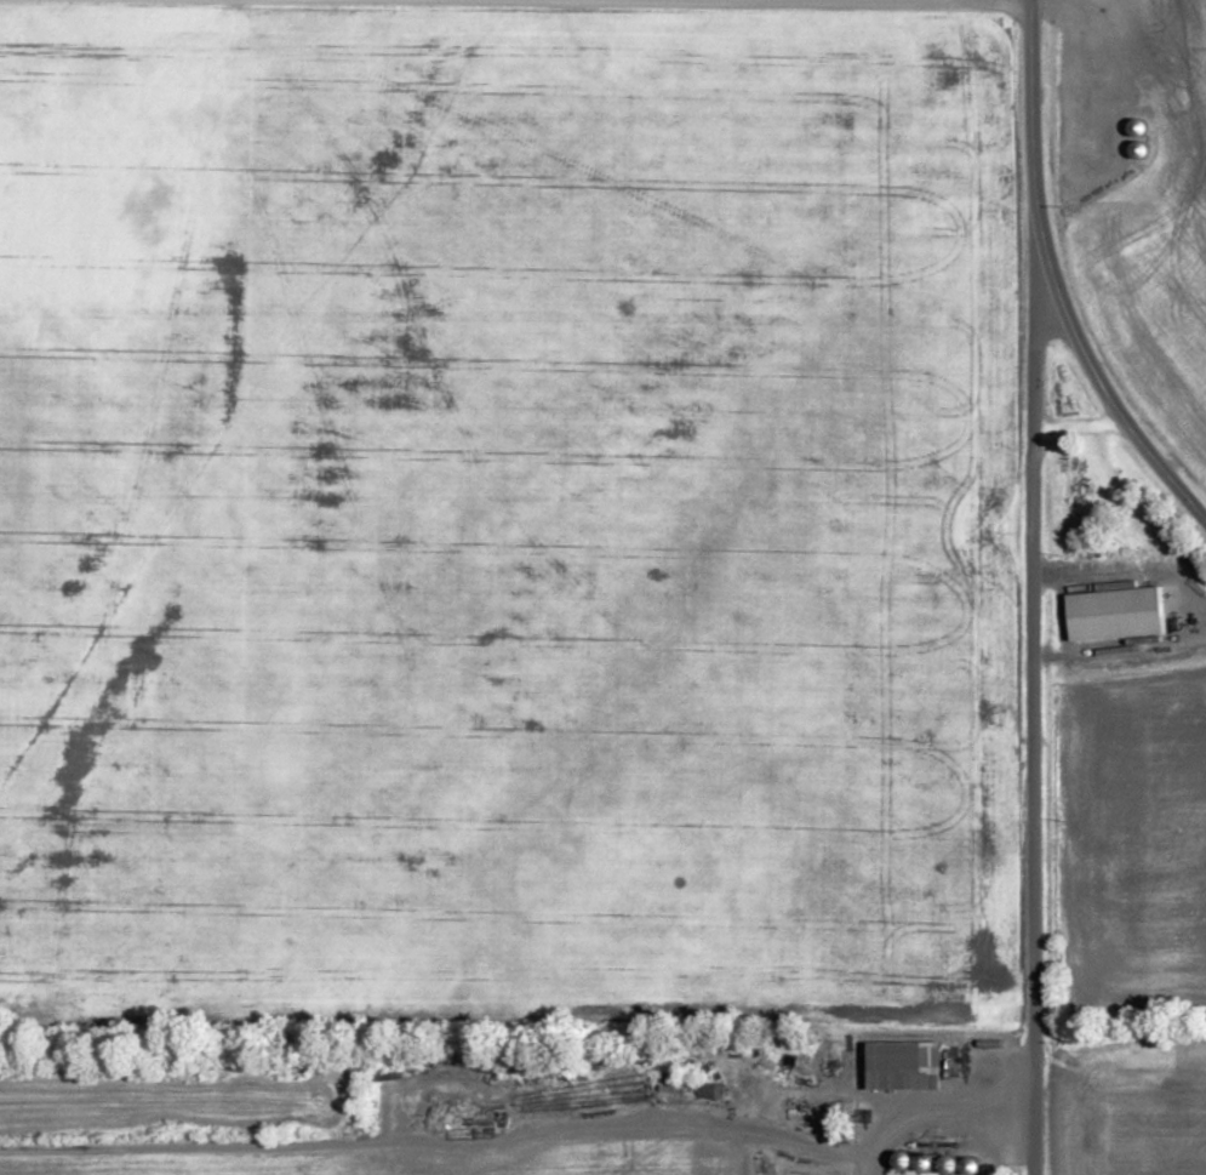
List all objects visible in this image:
road: (954, 0)
silo: (1142, 127)
silo: (1141, 149)
road: (1053, 276)
road: (1080, 427)
road: (1139, 517)
building: (1119, 614)
road: (1035, 657)
building: (907, 1066)
building: (770, 1093)
road: (934, 1108)
road: (440, 1143)
silo: (905, 1160)
silo: (926, 1162)
silo: (950, 1164)
silo: (972, 1165)

